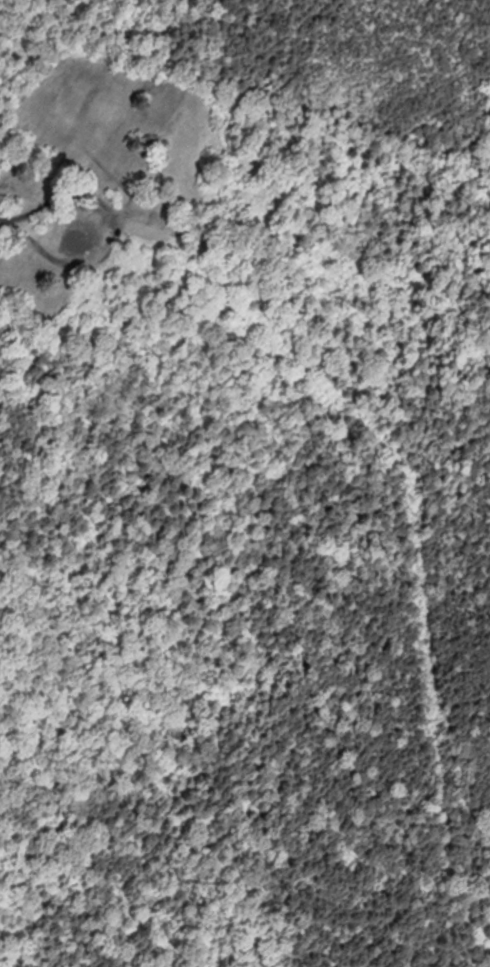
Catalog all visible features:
road: (12, 219)
building: (89, 238)

